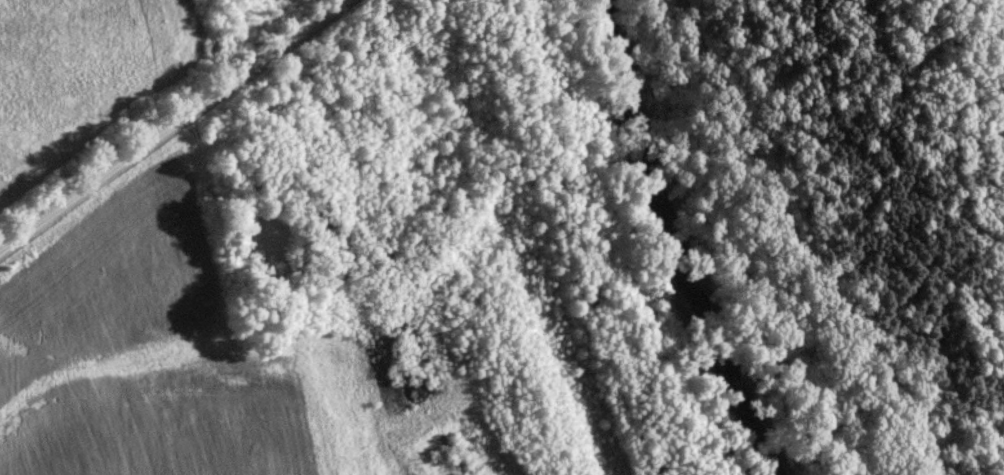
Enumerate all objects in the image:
road: (172, 125)
road: (790, 242)

